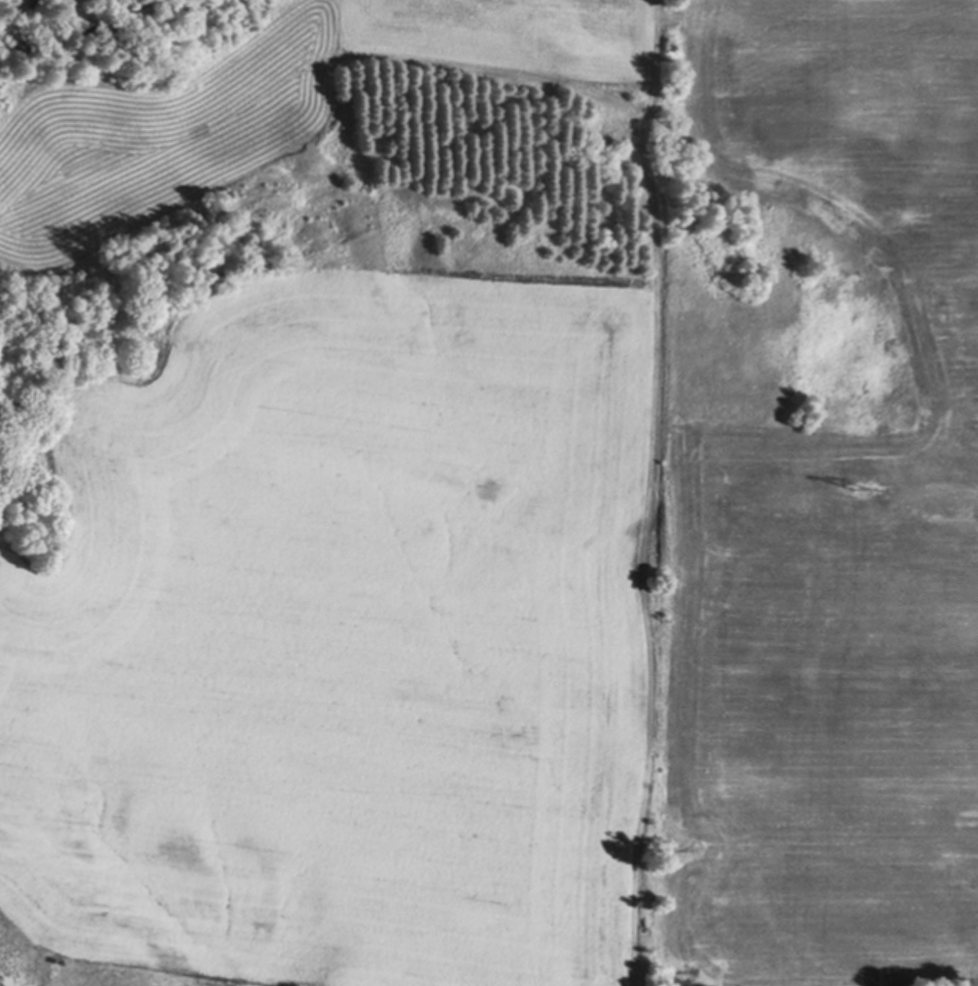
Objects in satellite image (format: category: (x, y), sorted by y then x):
power tower: (858, 485)

